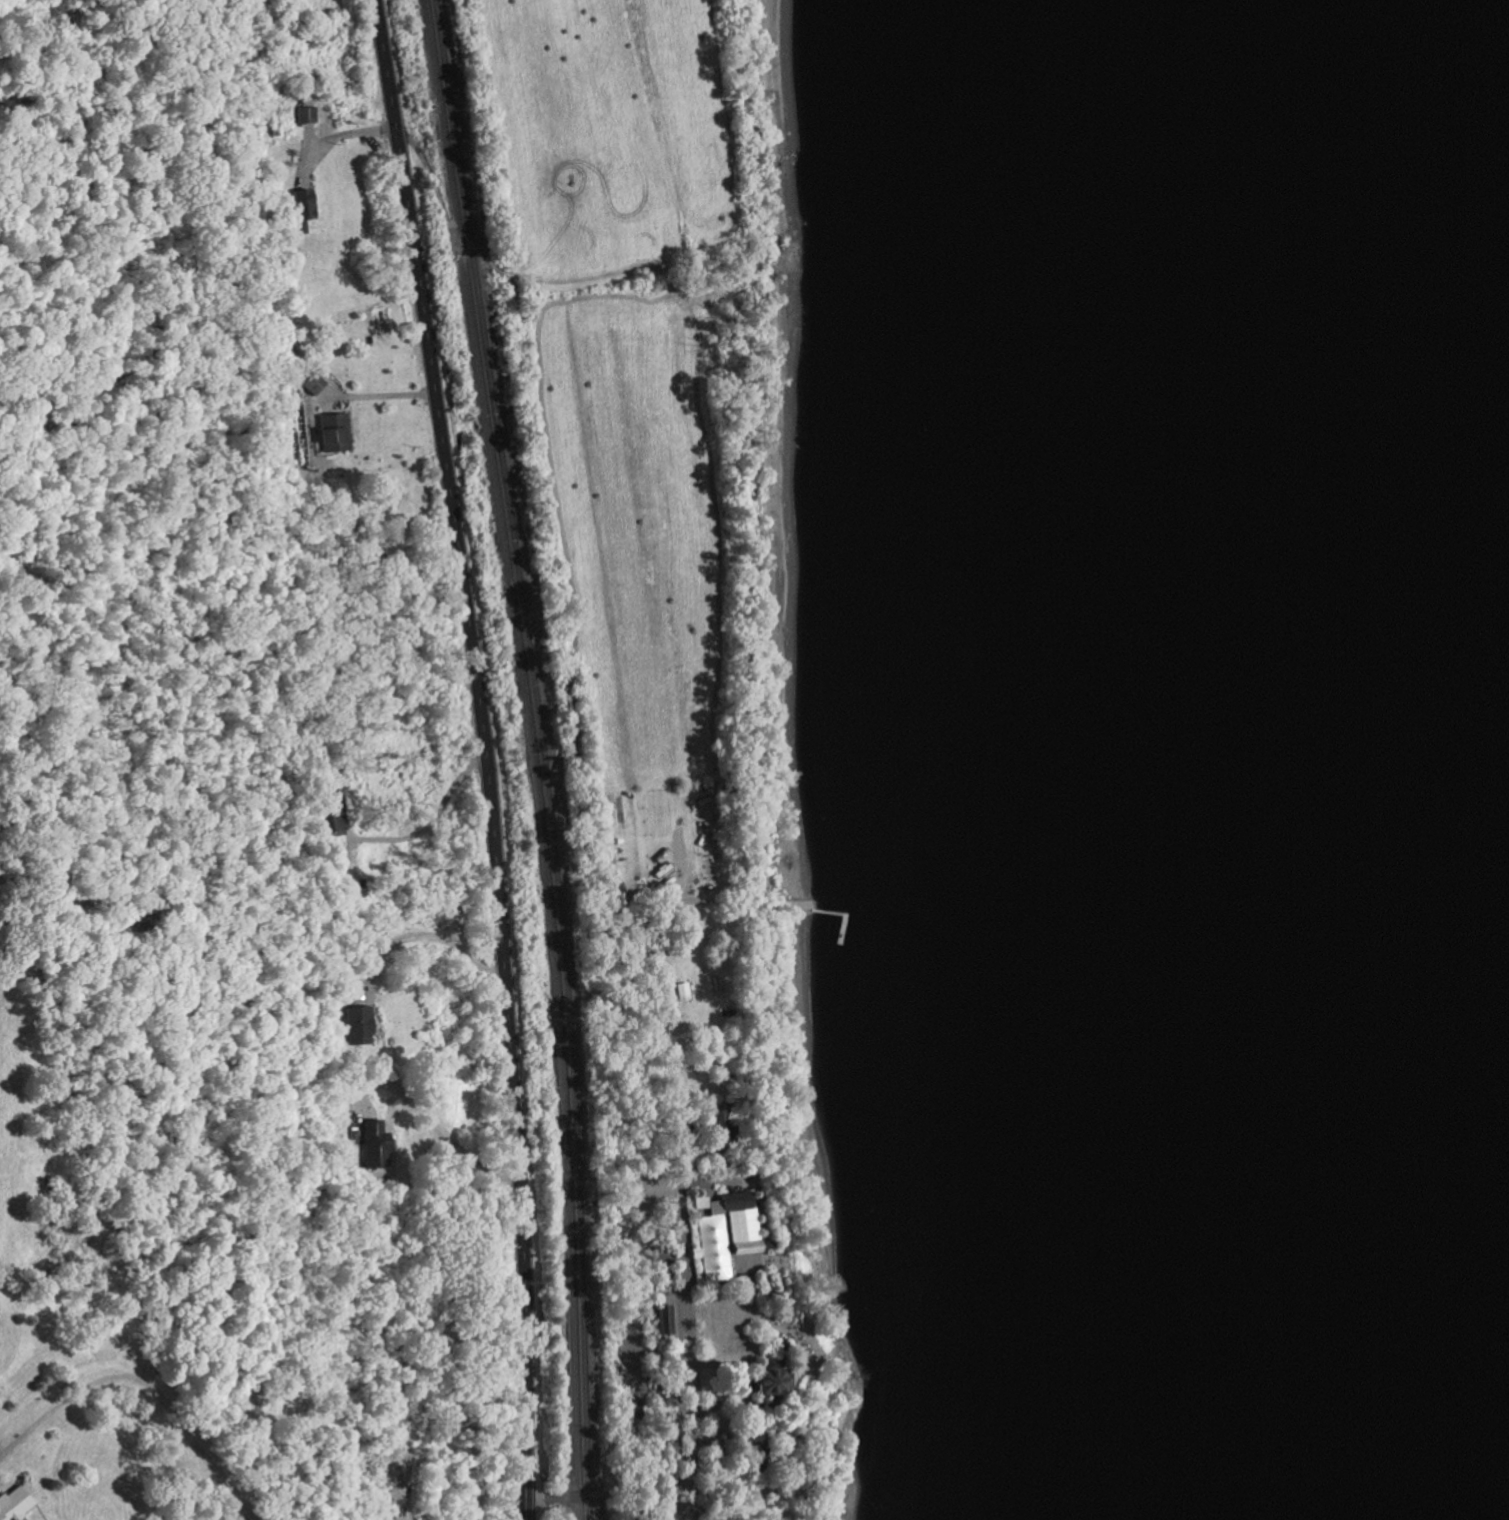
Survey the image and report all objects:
road: (336, 134)
road: (441, 215)
road: (381, 385)
crop: (654, 406)
road: (485, 756)
railway: (534, 757)
railway: (542, 757)
river: (1327, 760)
road: (429, 817)
road: (431, 935)
road: (662, 972)
building: (725, 1128)
road: (432, 1137)
building: (743, 1223)
building: (776, 1380)
road: (146, 1382)
road: (692, 1413)
road: (734, 1492)

